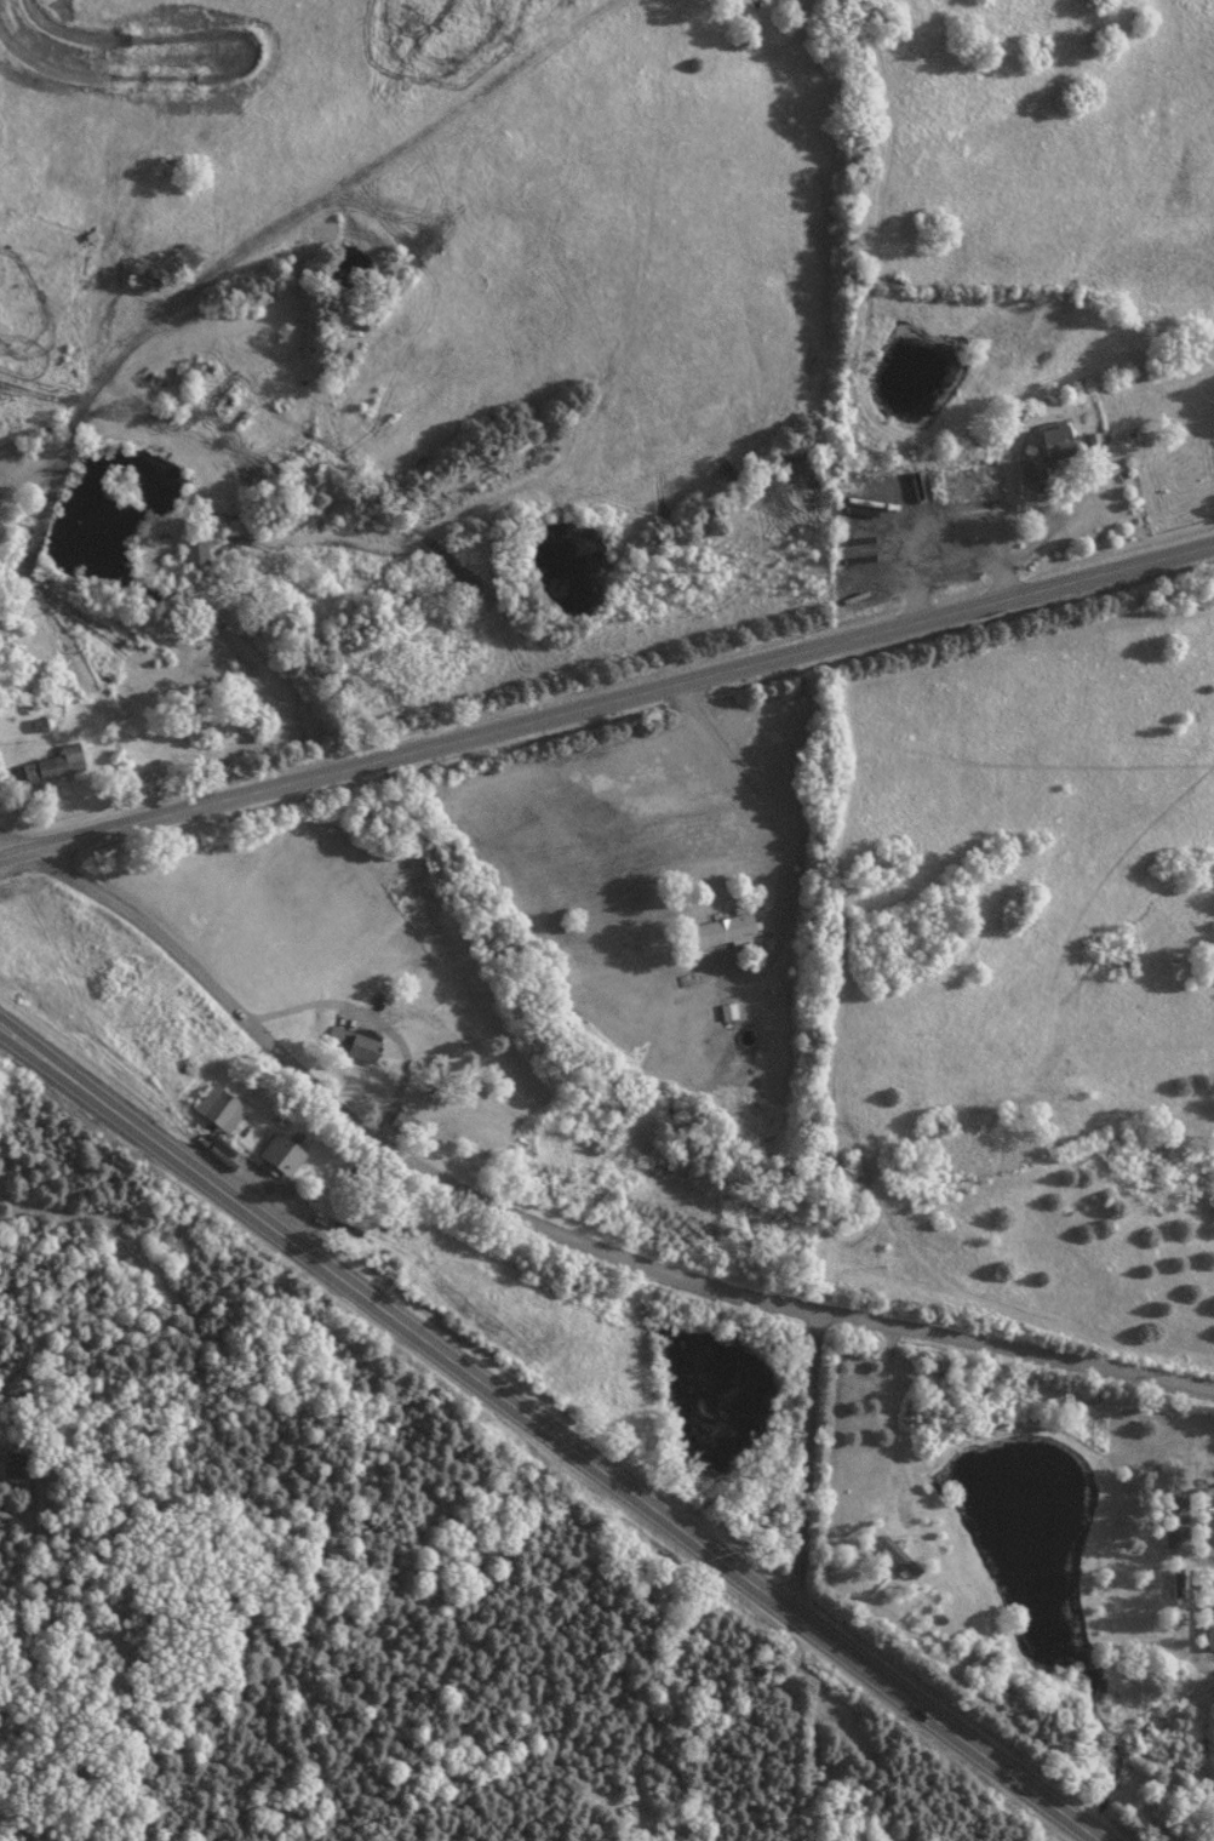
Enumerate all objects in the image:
building: (1046, 452)
building: (967, 481)
building: (194, 550)
road: (606, 701)
building: (52, 764)
road: (748, 785)
road: (11, 846)
building: (721, 930)
building: (349, 1044)
building: (218, 1108)
building: (396, 1120)
road: (383, 1138)
building: (279, 1154)
road: (1012, 1354)
road: (552, 1431)
building: (12, 1458)
road: (803, 1462)
building: (8, 1476)
road: (1208, 1500)
building: (1175, 1519)
building: (897, 1555)
building: (1176, 1580)
building: (1209, 1607)

